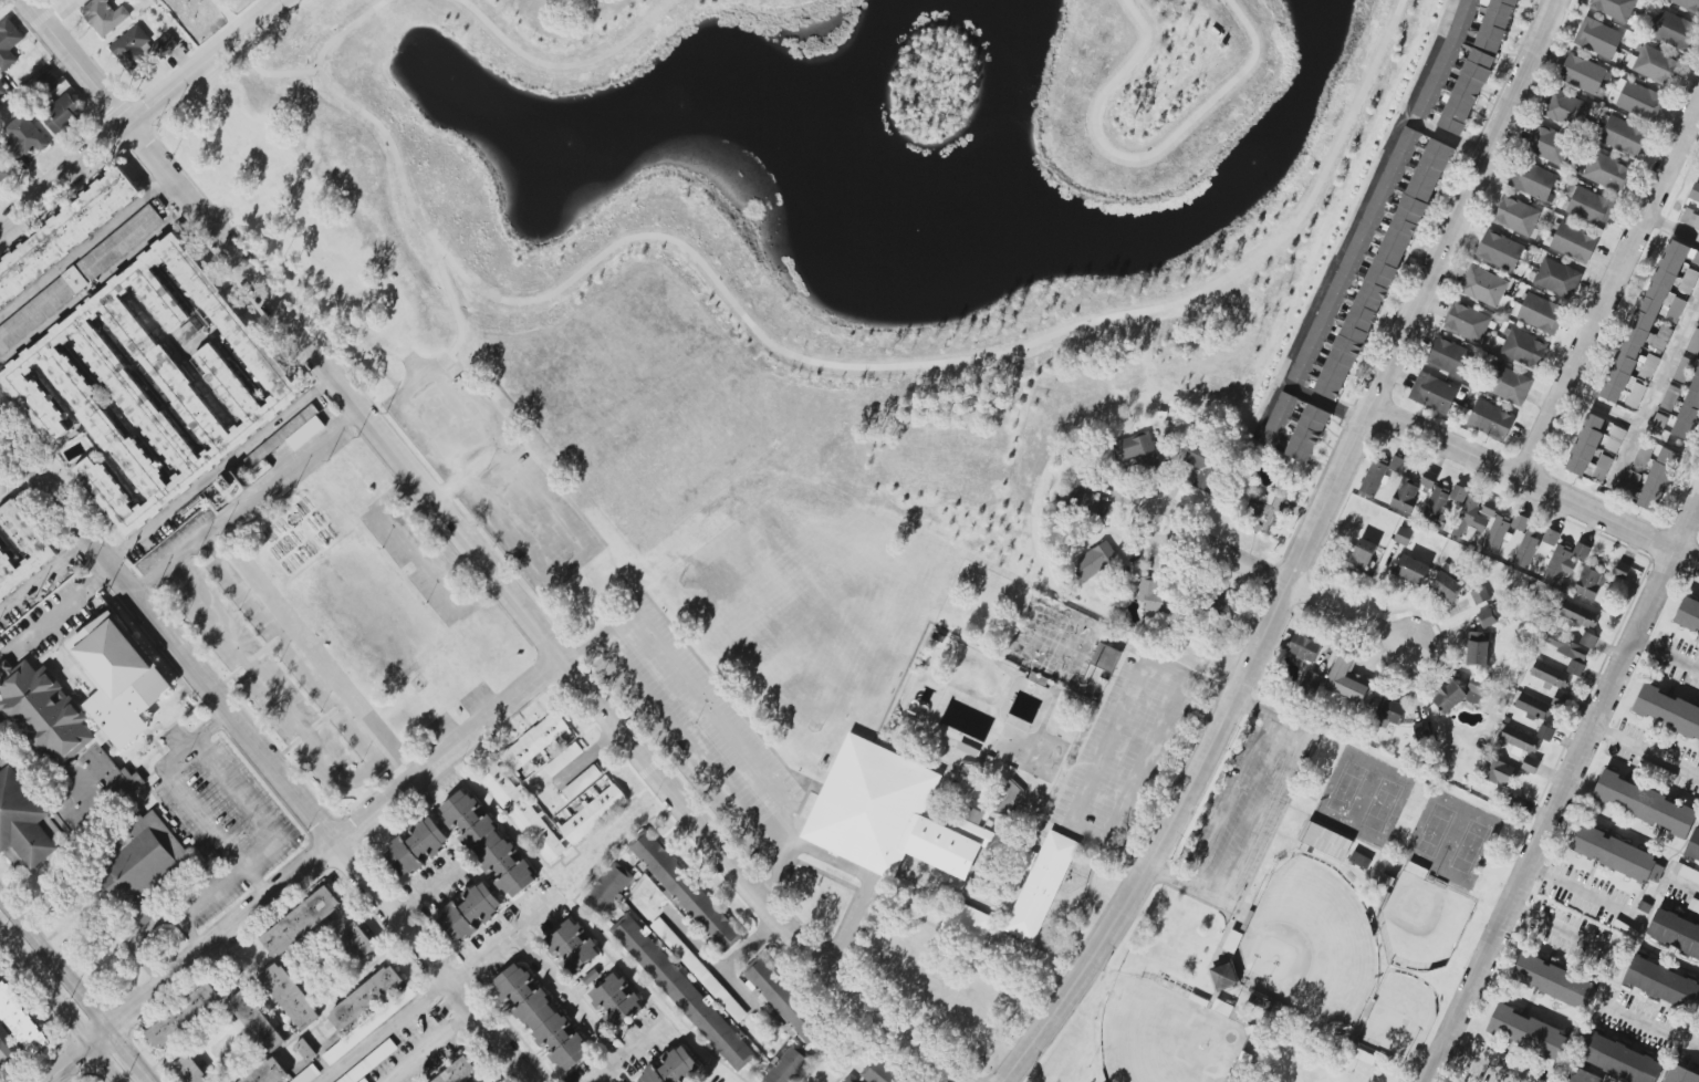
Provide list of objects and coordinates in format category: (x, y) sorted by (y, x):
building: (1687, 4)
building: (1614, 8)
road: (230, 15)
building: (104, 17)
building: (1674, 31)
building: (1598, 38)
building: (9, 43)
building: (142, 48)
building: (1472, 56)
road: (1429, 59)
road: (565, 65)
building: (1656, 66)
road: (270, 74)
building: (1585, 75)
building: (2, 87)
building: (1638, 100)
building: (1425, 104)
building: (1566, 110)
building: (63, 115)
road: (143, 116)
building: (1623, 136)
building: (24, 137)
building: (1550, 144)
road: (1145, 156)
building: (4, 171)
building: (1606, 171)
building: (1391, 175)
building: (1534, 180)
building: (1695, 194)
building: (1591, 207)
building: (1516, 216)
building: (1693, 220)
road: (1675, 226)
building: (65, 233)
park: (772, 237)
building: (1574, 242)
road: (86, 246)
road: (1343, 248)
building: (1500, 250)
building: (83, 273)
building: (1557, 278)
building: (1689, 281)
road: (98, 285)
building: (1483, 287)
road: (1611, 294)
road: (455, 306)
building: (1541, 313)
building: (1467, 322)
building: (1650, 322)
building: (1695, 343)
building: (1523, 348)
road: (803, 357)
building: (1449, 357)
road: (1670, 361)
building: (155, 381)
building: (1508, 385)
building: (1434, 393)
road: (1633, 419)
building: (1279, 420)
building: (1491, 420)
building: (1307, 434)
building: (1615, 438)
building: (284, 441)
building: (1591, 450)
building: (1137, 451)
road: (481, 464)
building: (1205, 465)
road: (221, 467)
parking lot: (492, 472)
building: (1380, 474)
building: (1658, 479)
building: (1429, 480)
road: (529, 485)
road: (1534, 485)
building: (230, 486)
building: (1459, 493)
building: (1405, 496)
road: (249, 500)
building: (1440, 507)
building: (1490, 509)
building: (1268, 510)
building: (1470, 517)
building: (1520, 522)
building: (1497, 534)
building: (1404, 537)
building: (1551, 537)
building: (21, 549)
building: (1526, 550)
road: (479, 551)
road: (1304, 552)
road: (419, 555)
building: (1359, 558)
building: (1565, 561)
building: (1094, 562)
building: (1410, 569)
building: (1622, 571)
road: (45, 575)
road: (1286, 582)
building: (1589, 583)
building: (1447, 586)
building: (1480, 595)
building: (1154, 596)
road: (56, 612)
building: (1578, 614)
building: (1688, 615)
building: (1487, 618)
building: (1588, 641)
building: (1305, 647)
building: (1478, 648)
building: (1570, 652)
building: (1106, 657)
road: (1667, 658)
road: (308, 660)
building: (1550, 675)
building: (1347, 678)
road: (272, 690)
building: (1462, 694)
building: (1562, 699)
building: (1534, 708)
building: (1391, 710)
building: (1668, 712)
road: (711, 715)
road: (218, 721)
parking lot: (695, 721)
building: (48, 724)
building: (1422, 730)
road: (678, 732)
building: (1545, 732)
road: (1111, 737)
building: (535, 742)
road: (264, 751)
road: (1646, 755)
parking lot: (1140, 758)
road: (1144, 758)
building: (563, 760)
building: (1531, 764)
building: (1499, 772)
building: (968, 780)
building: (582, 782)
road: (1563, 795)
park: (1363, 797)
building: (1007, 798)
building: (1645, 804)
parking lot: (1233, 805)
road: (247, 808)
park: (1043, 809)
building: (523, 813)
building: (593, 814)
parking lot: (220, 818)
building: (23, 820)
road: (217, 835)
park: (1449, 837)
building: (1326, 841)
building: (935, 842)
building: (488, 843)
building: (416, 846)
building: (1693, 847)
road: (325, 851)
building: (1617, 854)
building: (135, 855)
building: (1361, 860)
road: (853, 868)
road: (256, 883)
road: (436, 883)
road: (1681, 886)
building: (607, 888)
building: (686, 891)
road: (1585, 897)
road: (403, 909)
building: (469, 913)
park: (1421, 919)
building: (299, 923)
building: (1675, 933)
road: (1565, 934)
building: (355, 938)
park: (1310, 939)
building: (1232, 941)
road: (190, 944)
road: (754, 945)
building: (572, 947)
road: (709, 961)
road: (24, 967)
building: (699, 970)
building: (1224, 976)
building: (591, 977)
building: (1555, 981)
building: (1664, 984)
road: (76, 987)
road: (438, 988)
building: (681, 992)
building: (288, 995)
road: (570, 995)
building: (364, 998)
building: (615, 1001)
building: (784, 1001)
building: (181, 1017)
building: (542, 1018)
building: (254, 1020)
park: (1397, 1020)
building: (20, 1021)
road: (67, 1022)
building: (368, 1026)
road: (1648, 1027)
building: (1528, 1032)
parking lot: (407, 1042)
road: (428, 1047)
building: (7, 1048)
building: (305, 1049)
road: (629, 1052)
building: (1620, 1060)
building: (369, 1062)
road: (1480, 1063)
road: (66, 1064)
road: (102, 1064)
building: (786, 1067)
building: (674, 1068)
building: (188, 1071)
building: (268, 1072)
building: (459, 1072)
building: (880, 1073)
building: (308, 1074)
building: (1681, 1074)
building: (1581, 1075)
building: (846, 1078)
road: (56, 1079)
building: (363, 1080)

